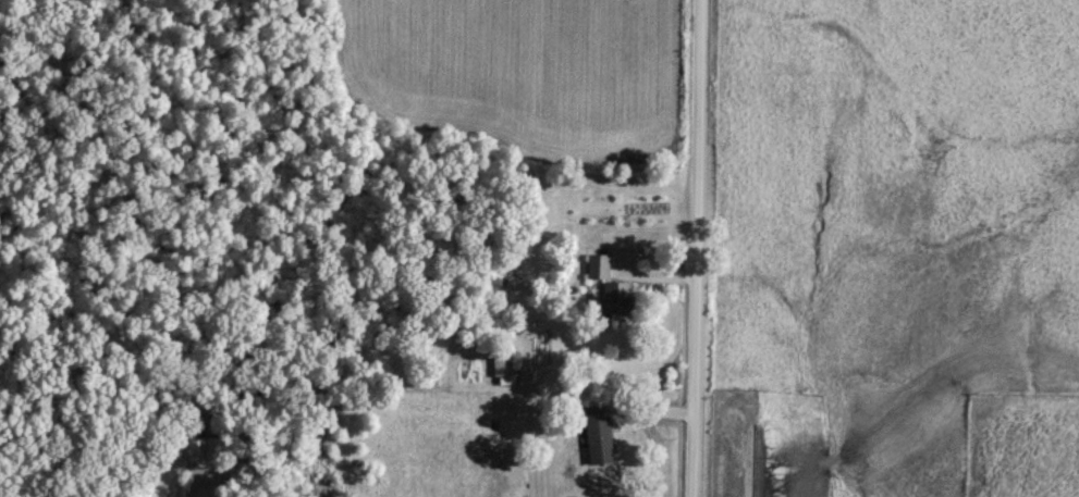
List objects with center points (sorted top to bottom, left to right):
road: (701, 248)
building: (596, 264)
building: (613, 296)
building: (498, 364)
building: (594, 434)
building: (196, 450)

